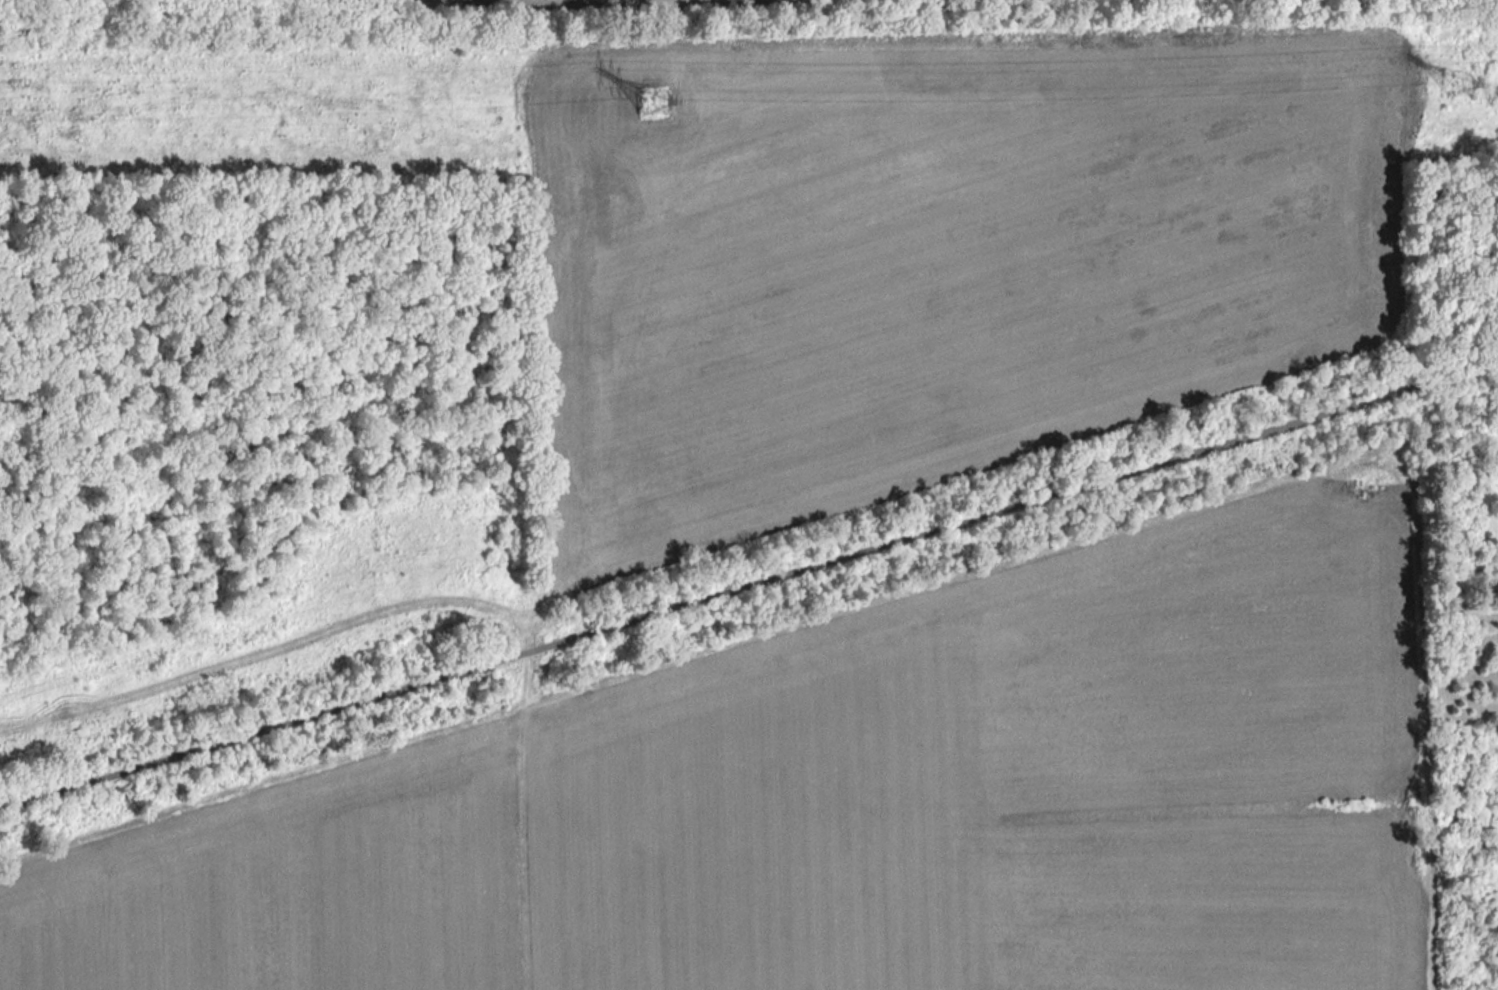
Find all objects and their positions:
crop: (474, 1)
power tower: (1460, 86)
crop: (655, 100)
crop: (655, 100)
power tower: (657, 104)
crop: (931, 267)
road: (749, 587)
crop: (861, 798)

